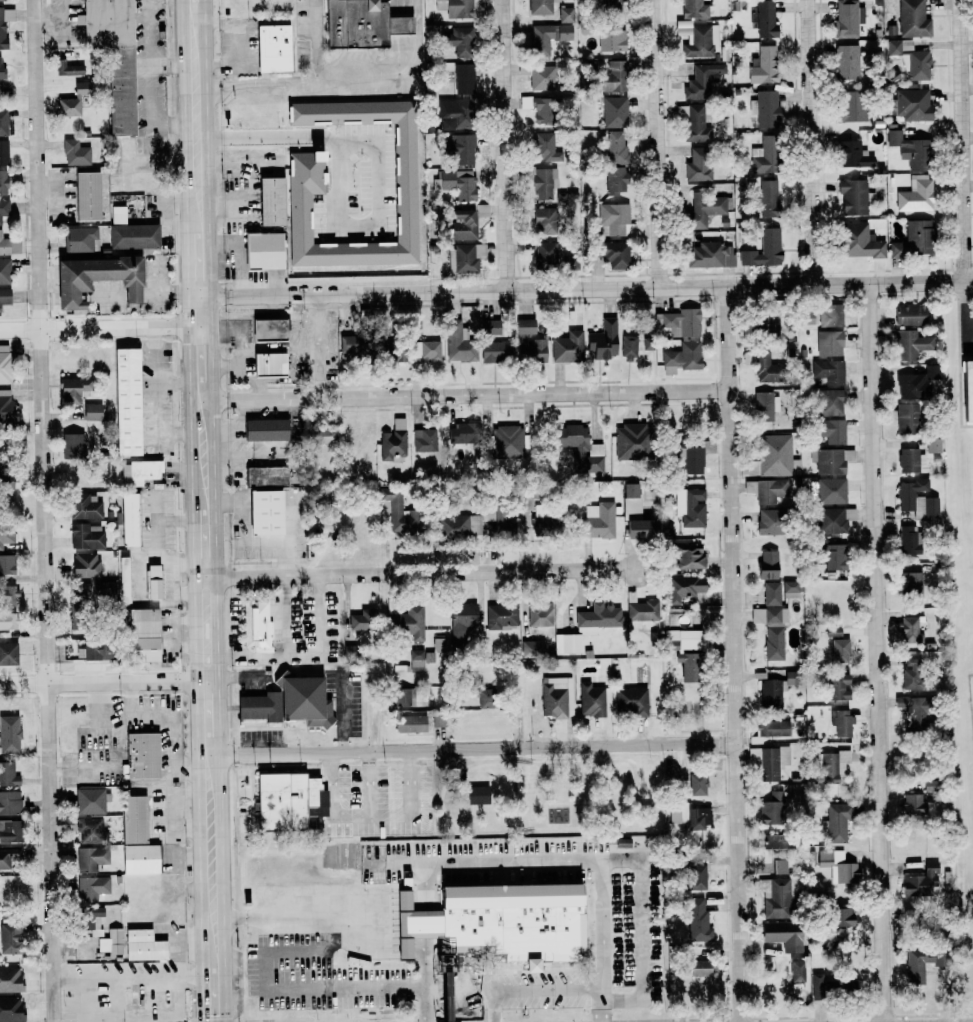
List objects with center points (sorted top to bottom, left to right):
building: (1, 0)
road: (206, 2)
building: (612, 4)
building: (540, 7)
building: (455, 8)
building: (695, 9)
building: (565, 14)
building: (848, 18)
building: (911, 18)
building: (764, 20)
building: (110, 22)
building: (358, 23)
building: (5, 24)
building: (401, 24)
building: (547, 37)
building: (611, 38)
building: (459, 40)
building: (702, 41)
building: (275, 47)
building: (911, 59)
building: (0, 60)
building: (847, 62)
road: (168, 65)
building: (762, 66)
building: (67, 68)
building: (524, 69)
road: (401, 74)
road: (152, 77)
building: (543, 77)
building: (614, 77)
road: (302, 79)
building: (698, 83)
building: (80, 89)
building: (123, 90)
building: (458, 100)
building: (913, 104)
building: (68, 106)
building: (852, 106)
building: (538, 107)
building: (765, 108)
building: (614, 112)
building: (3, 122)
road: (184, 122)
building: (694, 123)
road: (960, 141)
road: (815, 143)
road: (660, 144)
road: (505, 145)
building: (542, 145)
building: (616, 146)
building: (460, 147)
building: (910, 150)
building: (3, 152)
building: (75, 152)
building: (853, 155)
building: (765, 156)
road: (210, 163)
building: (698, 164)
building: (616, 180)
building: (3, 182)
building: (458, 182)
building: (544, 182)
road: (342, 191)
building: (916, 194)
building: (86, 195)
building: (853, 196)
building: (769, 197)
building: (274, 201)
building: (4, 208)
building: (704, 209)
building: (545, 220)
building: (615, 220)
building: (464, 224)
building: (130, 232)
building: (918, 236)
building: (81, 240)
building: (859, 240)
building: (4, 245)
building: (765, 249)
building: (266, 250)
building: (546, 253)
building: (612, 253)
building: (711, 255)
building: (462, 258)
building: (570, 261)
building: (4, 270)
road: (187, 270)
building: (95, 278)
road: (580, 289)
building: (4, 296)
road: (963, 311)
road: (253, 313)
building: (835, 314)
building: (910, 314)
building: (764, 319)
road: (228, 322)
building: (680, 322)
road: (106, 325)
building: (525, 326)
building: (490, 327)
building: (273, 329)
building: (603, 339)
building: (829, 342)
road: (322, 343)
building: (458, 343)
building: (648, 343)
building: (911, 344)
road: (274, 345)
building: (352, 346)
building: (391, 347)
building: (568, 347)
building: (628, 348)
building: (425, 350)
building: (496, 351)
building: (533, 351)
building: (682, 357)
road: (213, 359)
building: (273, 363)
building: (4, 364)
road: (233, 364)
building: (765, 368)
building: (829, 371)
road: (172, 381)
building: (916, 383)
building: (967, 388)
building: (73, 389)
road: (459, 391)
road: (155, 395)
building: (130, 401)
building: (829, 402)
road: (189, 403)
building: (763, 404)
building: (3, 405)
building: (92, 411)
building: (908, 418)
building: (269, 429)
building: (831, 430)
building: (462, 433)
building: (325, 435)
building: (424, 440)
building: (630, 441)
building: (393, 442)
building: (507, 442)
building: (72, 444)
building: (933, 445)
building: (581, 448)
building: (849, 455)
building: (691, 456)
building: (774, 457)
building: (910, 459)
building: (828, 460)
building: (141, 472)
building: (5, 475)
building: (269, 476)
building: (767, 490)
building: (829, 490)
building: (917, 499)
building: (85, 506)
building: (690, 507)
road: (49, 510)
building: (396, 510)
building: (541, 511)
building: (268, 512)
building: (498, 514)
building: (636, 515)
building: (132, 518)
building: (834, 519)
building: (599, 520)
road: (244, 521)
building: (771, 521)
building: (458, 527)
building: (667, 532)
building: (6, 536)
building: (85, 537)
road: (217, 537)
building: (909, 539)
road: (194, 544)
road: (289, 544)
building: (830, 552)
building: (688, 555)
building: (6, 564)
building: (768, 564)
building: (85, 565)
road: (417, 572)
building: (126, 579)
building: (156, 580)
building: (910, 580)
building: (684, 588)
building: (792, 589)
building: (95, 590)
building: (771, 593)
building: (7, 594)
building: (640, 610)
building: (540, 614)
building: (500, 616)
building: (7, 620)
building: (358, 621)
building: (407, 622)
building: (461, 622)
building: (258, 624)
building: (588, 626)
building: (772, 630)
building: (910, 630)
building: (833, 632)
building: (146, 634)
building: (533, 647)
building: (94, 649)
road: (304, 650)
building: (840, 650)
building: (8, 653)
road: (879, 653)
road: (736, 654)
building: (416, 661)
building: (790, 678)
building: (910, 678)
road: (111, 680)
building: (839, 687)
building: (770, 690)
building: (404, 696)
building: (557, 697)
road: (222, 698)
building: (486, 698)
building: (307, 699)
building: (591, 700)
building: (631, 701)
building: (261, 706)
building: (917, 708)
road: (344, 711)
road: (376, 714)
building: (438, 721)
building: (841, 722)
building: (411, 723)
building: (773, 728)
building: (9, 734)
road: (522, 746)
road: (468, 751)
building: (144, 756)
building: (769, 761)
building: (830, 766)
building: (8, 774)
road: (199, 777)
building: (697, 783)
building: (477, 795)
building: (90, 801)
building: (10, 803)
building: (285, 803)
building: (911, 803)
road: (372, 815)
building: (137, 818)
building: (697, 818)
building: (310, 822)
building: (836, 822)
building: (9, 831)
building: (91, 831)
building: (772, 841)
building: (9, 856)
building: (91, 858)
building: (143, 859)
road: (568, 861)
building: (779, 866)
building: (838, 866)
road: (225, 869)
building: (694, 876)
building: (921, 881)
road: (425, 885)
building: (92, 888)
building: (776, 898)
building: (90, 916)
road: (413, 917)
building: (842, 917)
road: (313, 918)
building: (516, 920)
building: (698, 920)
building: (417, 924)
road: (426, 924)
road: (642, 926)
building: (780, 932)
building: (114, 942)
building: (146, 945)
building: (932, 957)
flagpole: (518, 964)
flagpole: (512, 965)
building: (698, 967)
road: (328, 969)
building: (797, 969)
road: (245, 971)
road: (131, 977)
building: (10, 979)
road: (426, 980)
road: (483, 988)
road: (81, 999)
road: (205, 999)
road: (257, 1001)
building: (10, 1009)

